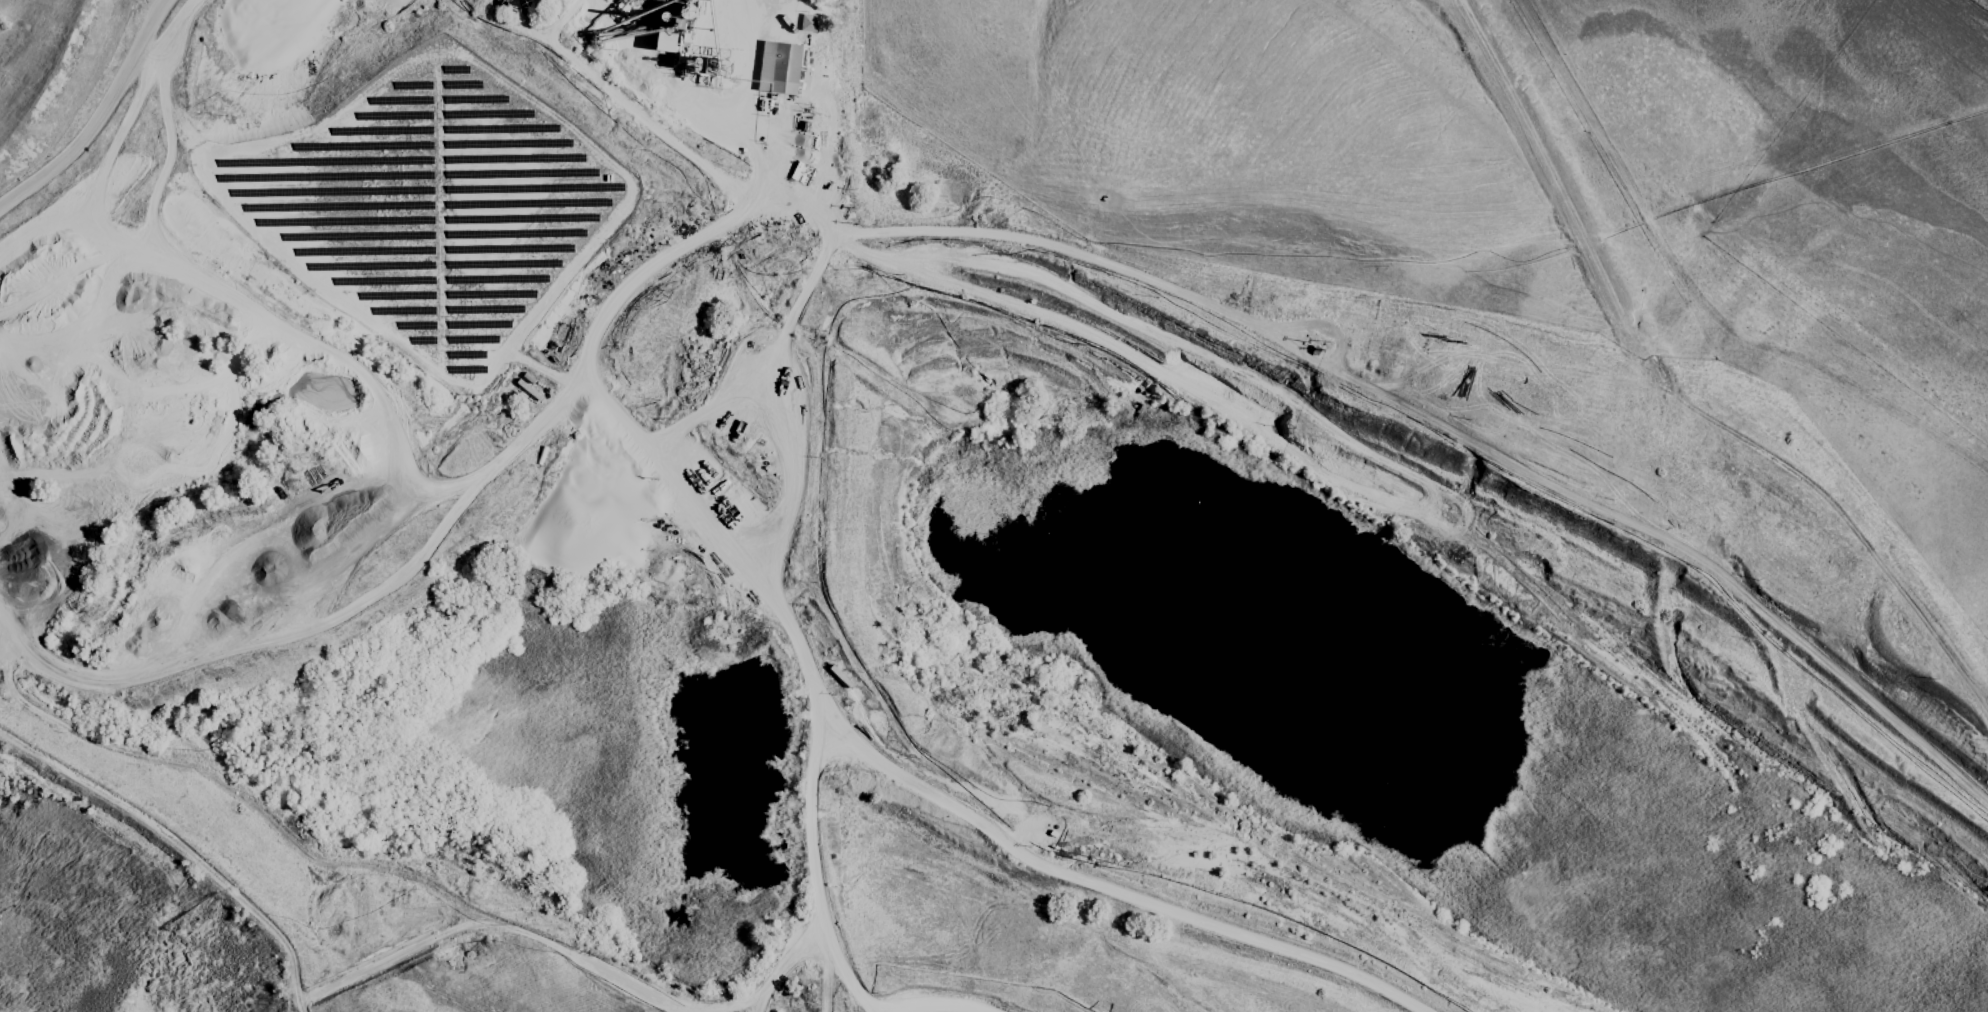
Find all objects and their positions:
building: (807, 22)
road: (144, 26)
road: (498, 43)
building: (778, 67)
road: (241, 228)
road: (914, 231)
crop: (1487, 313)
road: (1339, 352)
road: (768, 359)
road: (790, 481)
road: (440, 537)
road: (811, 801)
road: (462, 926)

